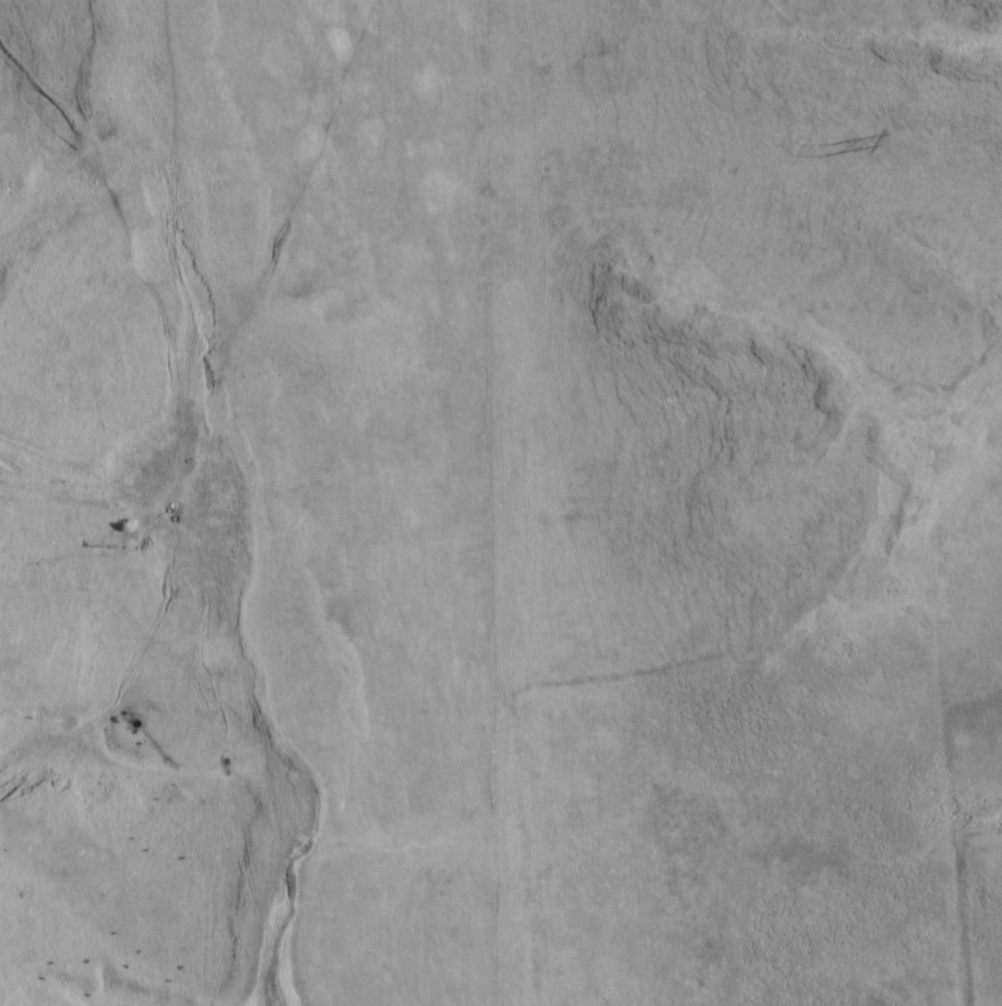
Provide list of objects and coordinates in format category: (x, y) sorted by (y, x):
power tower: (824, 151)

